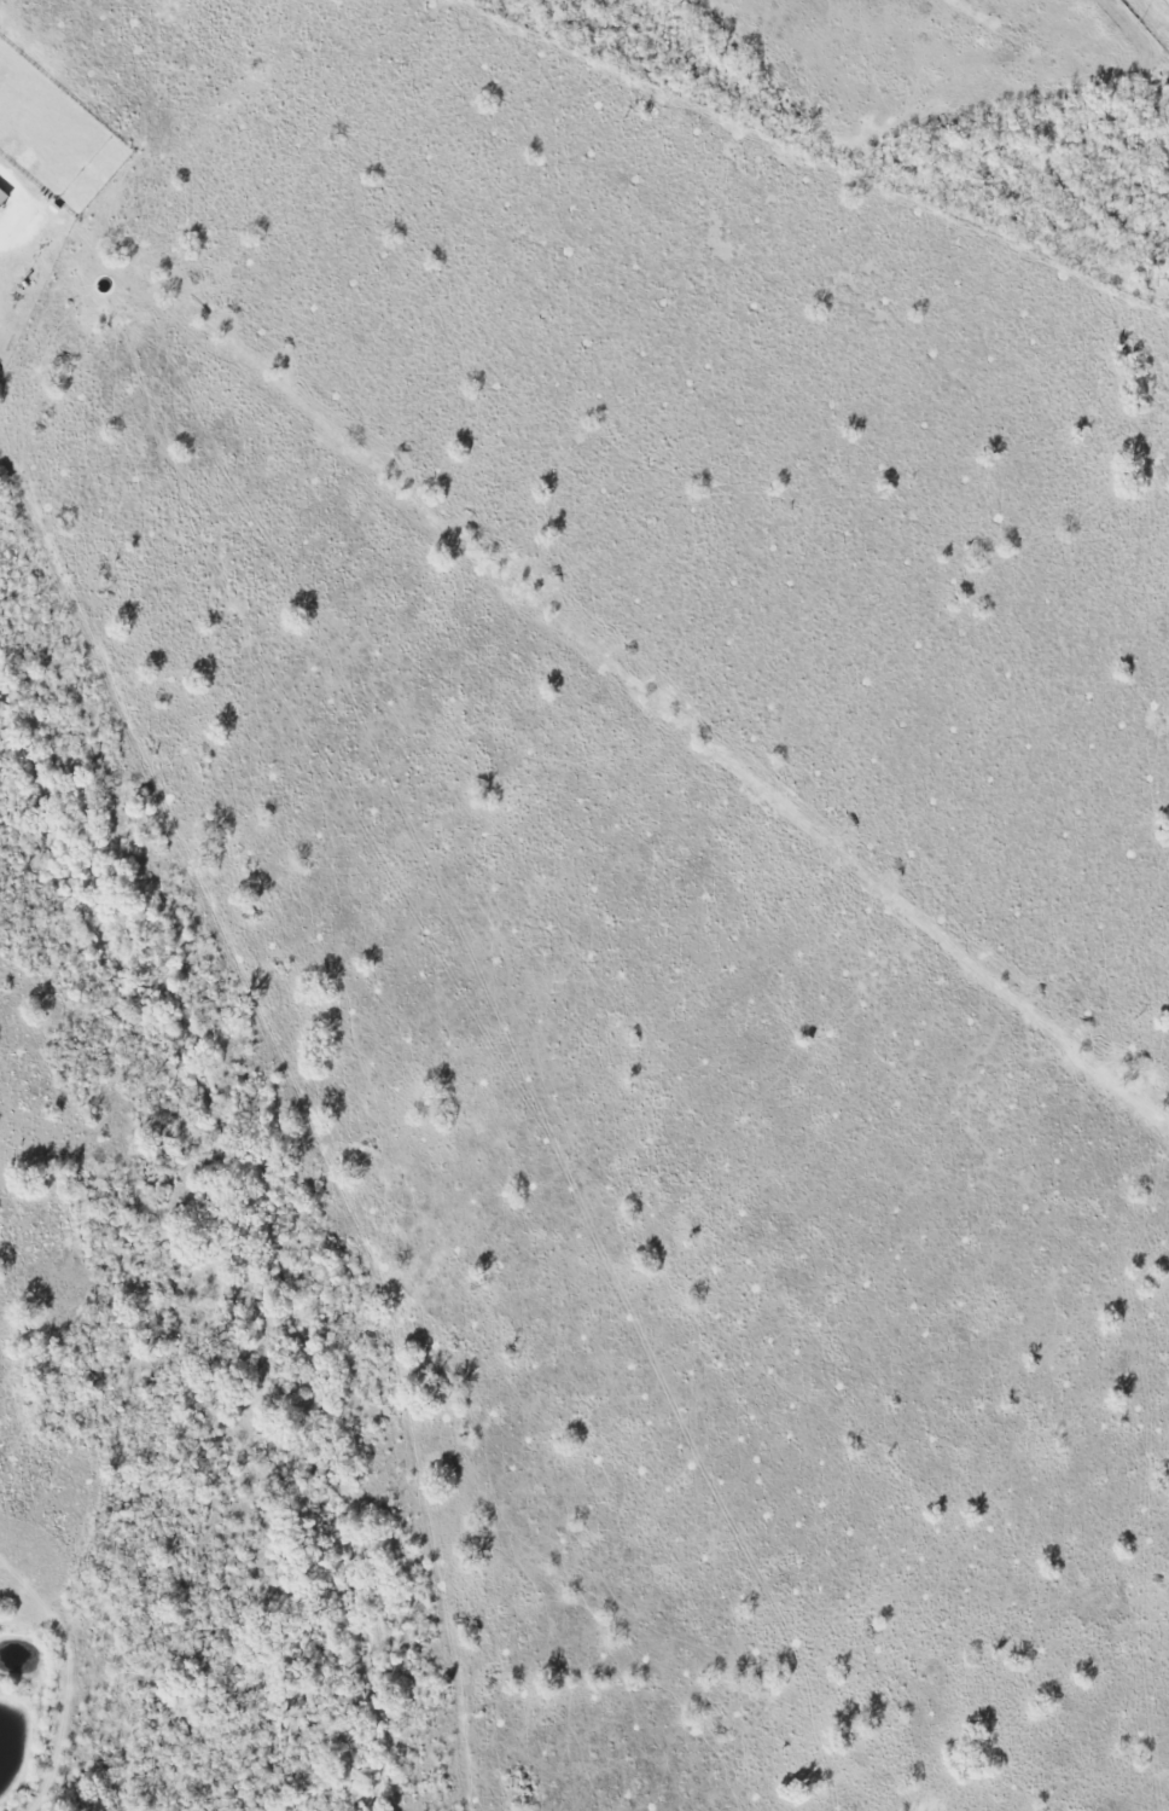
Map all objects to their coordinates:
building: (5, 198)

